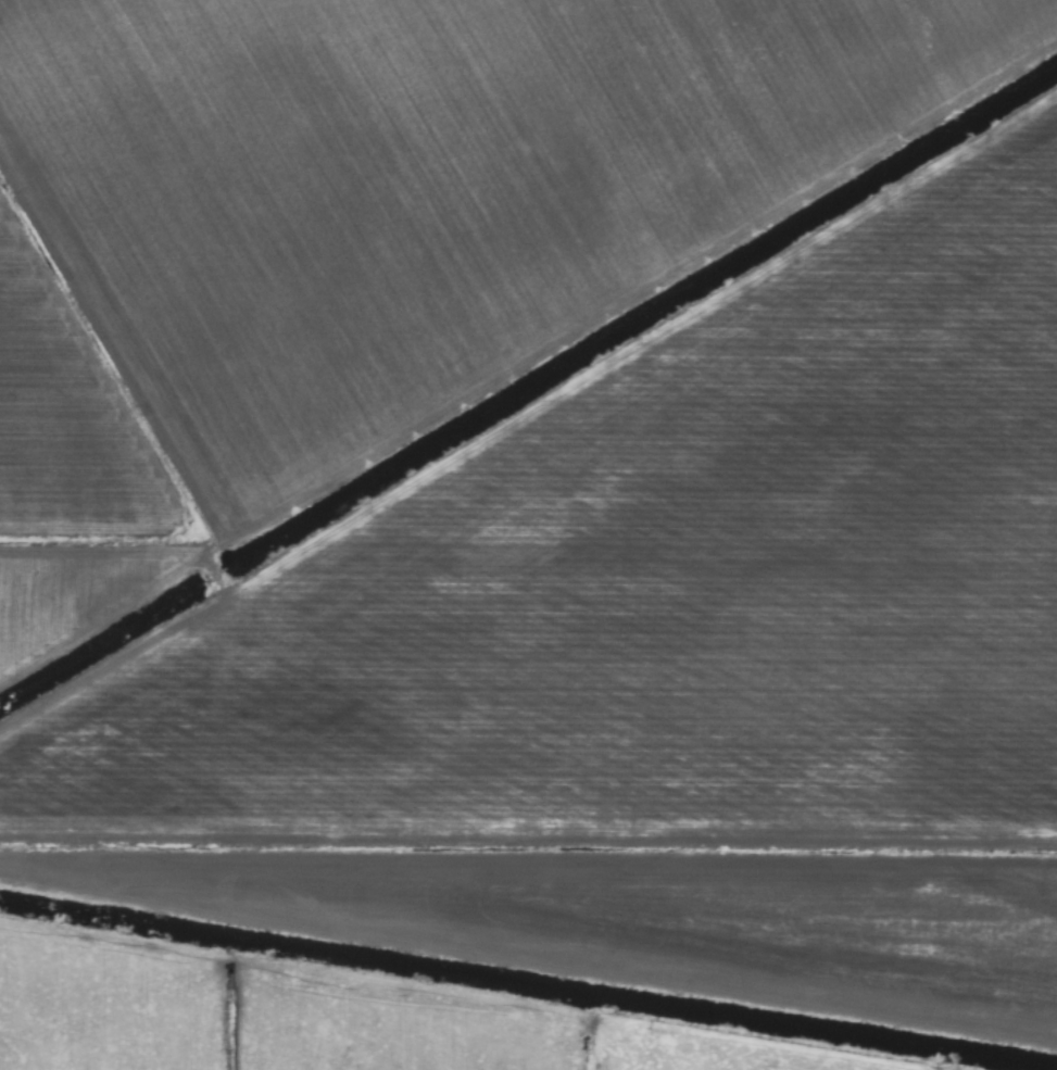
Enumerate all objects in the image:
crop: (528, 534)

